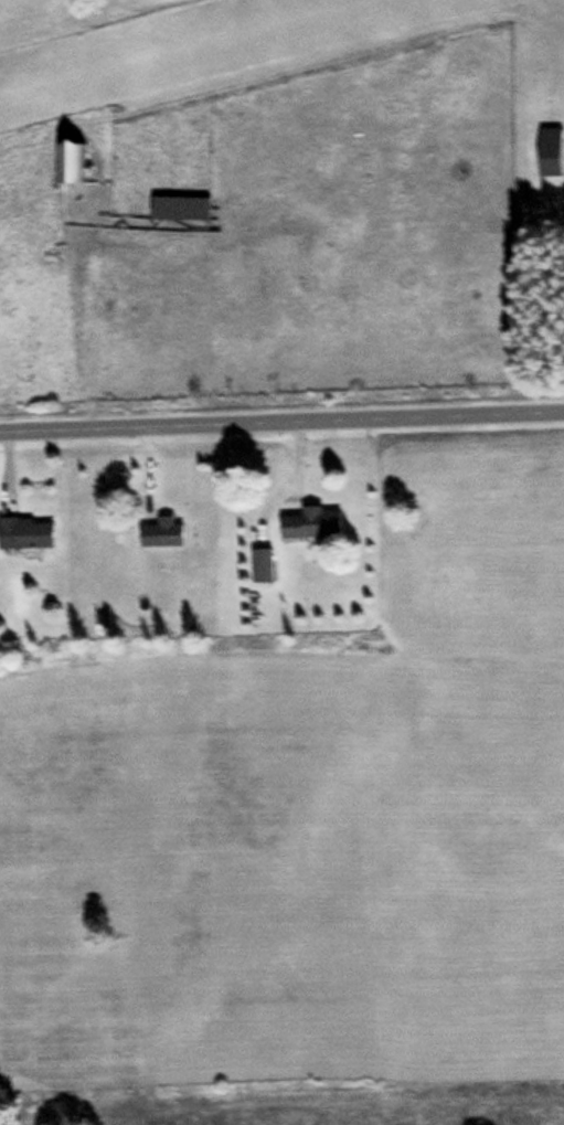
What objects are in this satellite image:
airport runway: (187, 49)
building: (549, 151)
building: (75, 162)
building: (187, 210)
road: (281, 423)
building: (310, 523)
building: (25, 533)
building: (160, 533)

